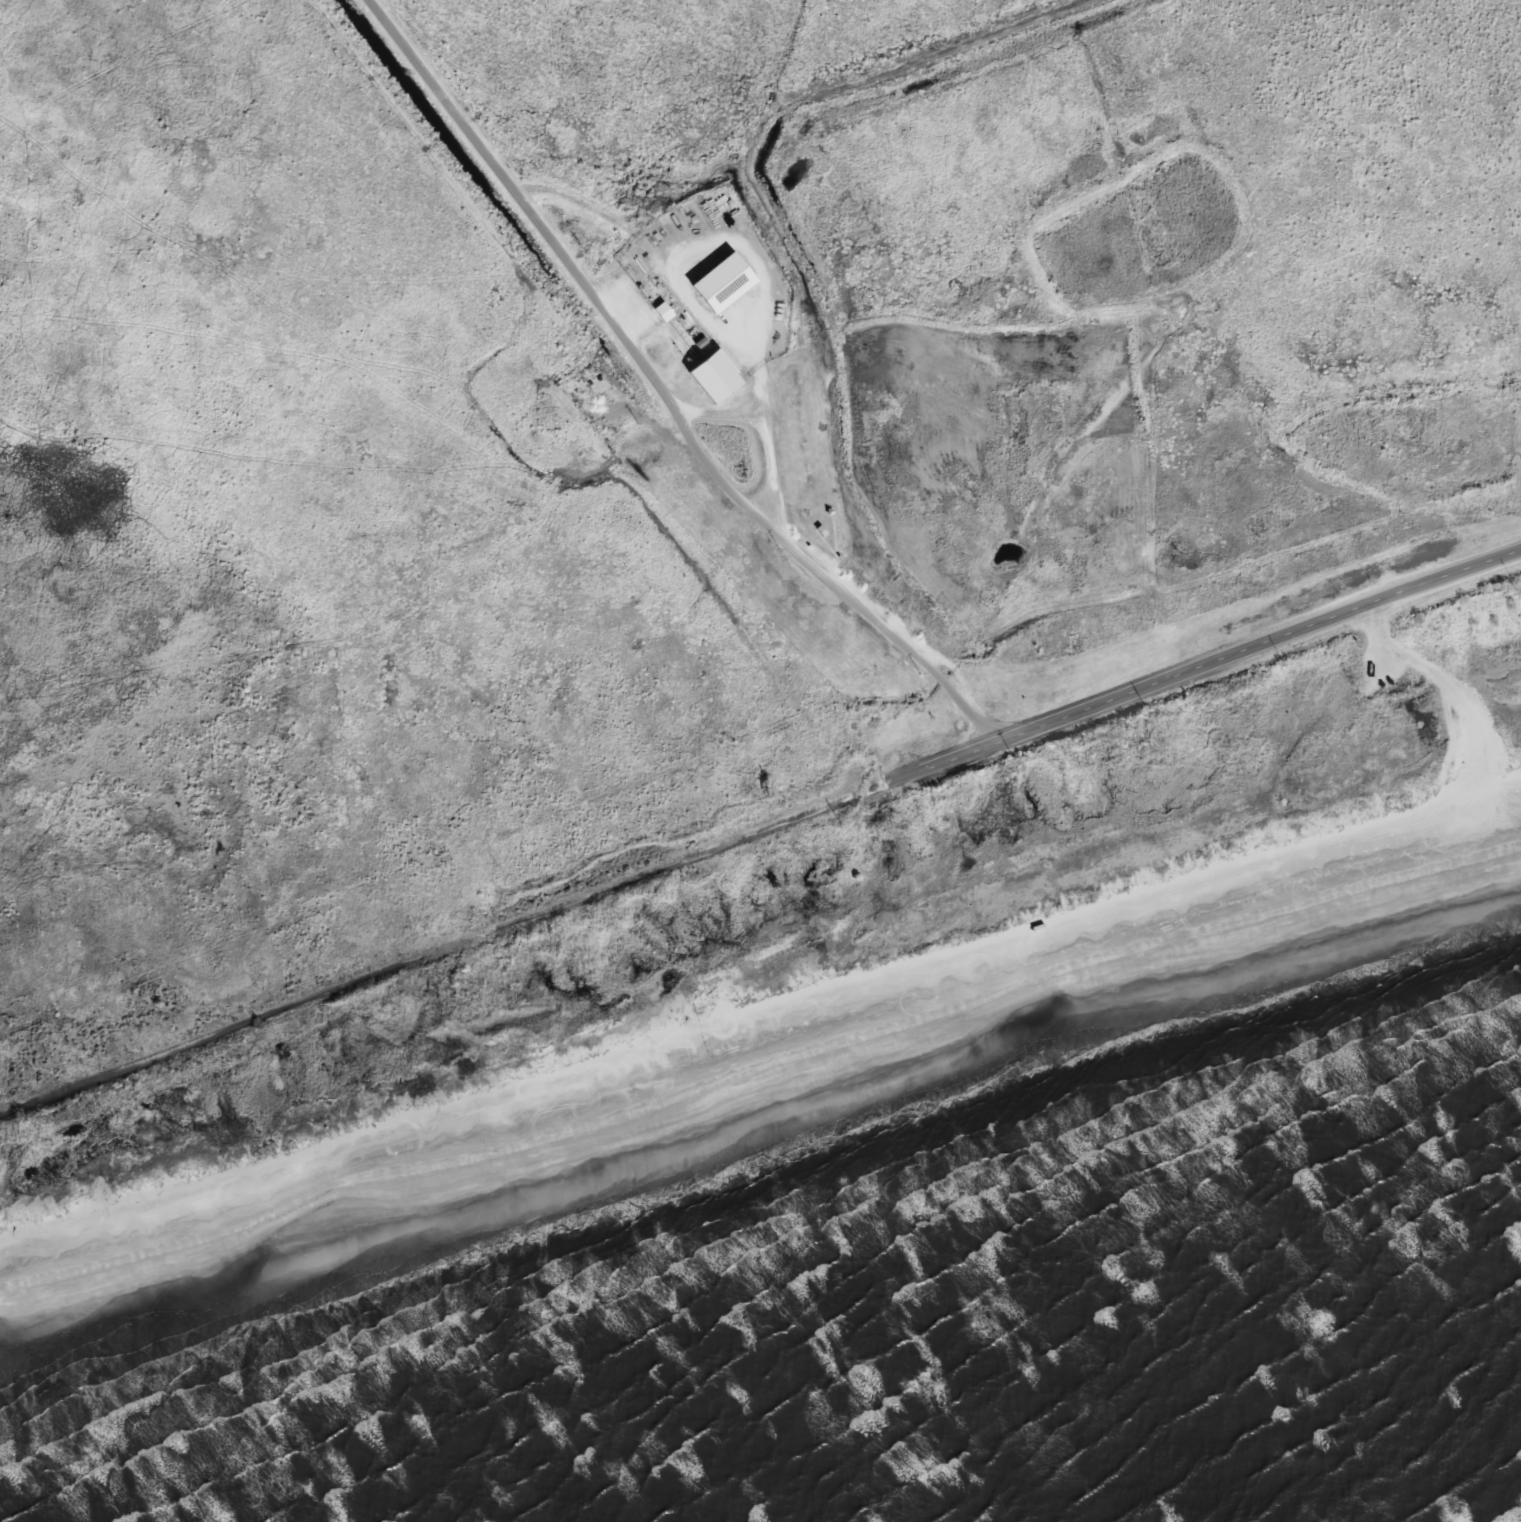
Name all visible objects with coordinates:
building: (721, 283)
building: (712, 376)
road: (661, 392)
road: (1259, 646)
road: (499, 930)

